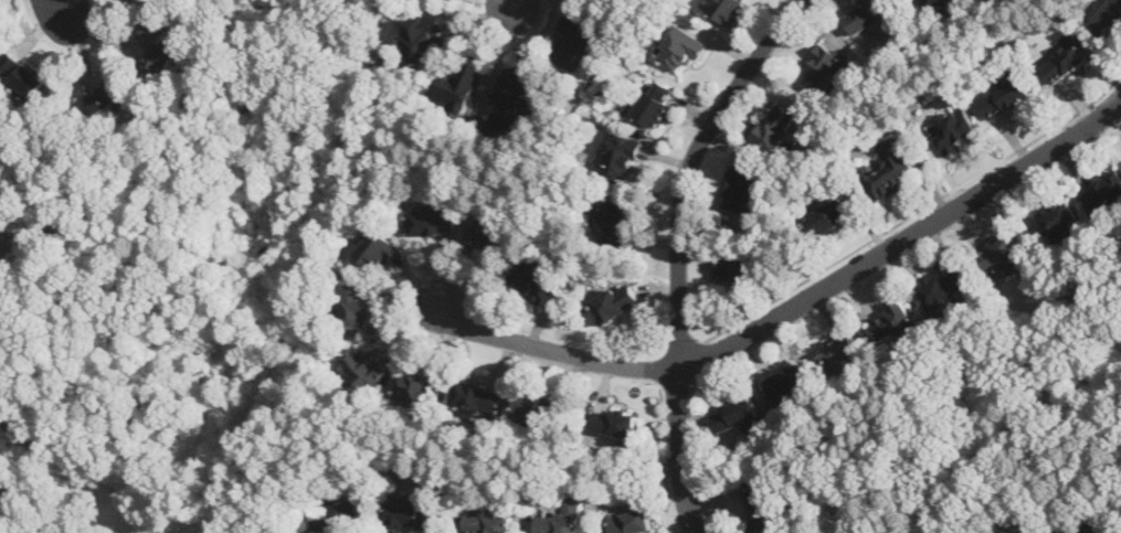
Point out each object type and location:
building: (938, 2)
road: (514, 6)
road: (57, 7)
building: (726, 8)
building: (865, 12)
building: (1107, 14)
building: (429, 38)
building: (575, 41)
building: (157, 45)
building: (681, 45)
building: (1064, 61)
building: (825, 67)
building: (20, 73)
building: (461, 85)
building: (106, 94)
building: (515, 95)
building: (1004, 95)
building: (654, 100)
building: (778, 126)
building: (952, 128)
building: (620, 157)
building: (886, 168)
building: (743, 188)
building: (1103, 191)
park: (288, 195)
road: (916, 210)
building: (828, 214)
building: (434, 218)
building: (614, 218)
building: (1060, 223)
building: (493, 233)
building: (379, 247)
building: (3, 248)
road: (678, 250)
building: (1001, 254)
building: (736, 269)
building: (535, 280)
road: (146, 284)
building: (944, 287)
building: (615, 300)
building: (359, 303)
road: (792, 308)
building: (893, 320)
building: (839, 353)
road: (697, 358)
building: (364, 366)
building: (787, 382)
building: (419, 390)
building: (477, 398)
building: (535, 404)
building: (734, 413)
building: (614, 420)
building: (752, 423)
road: (695, 455)
building: (763, 505)
building: (338, 512)
building: (412, 513)
building: (560, 518)
building: (488, 521)
building: (630, 521)
building: (1100, 529)

